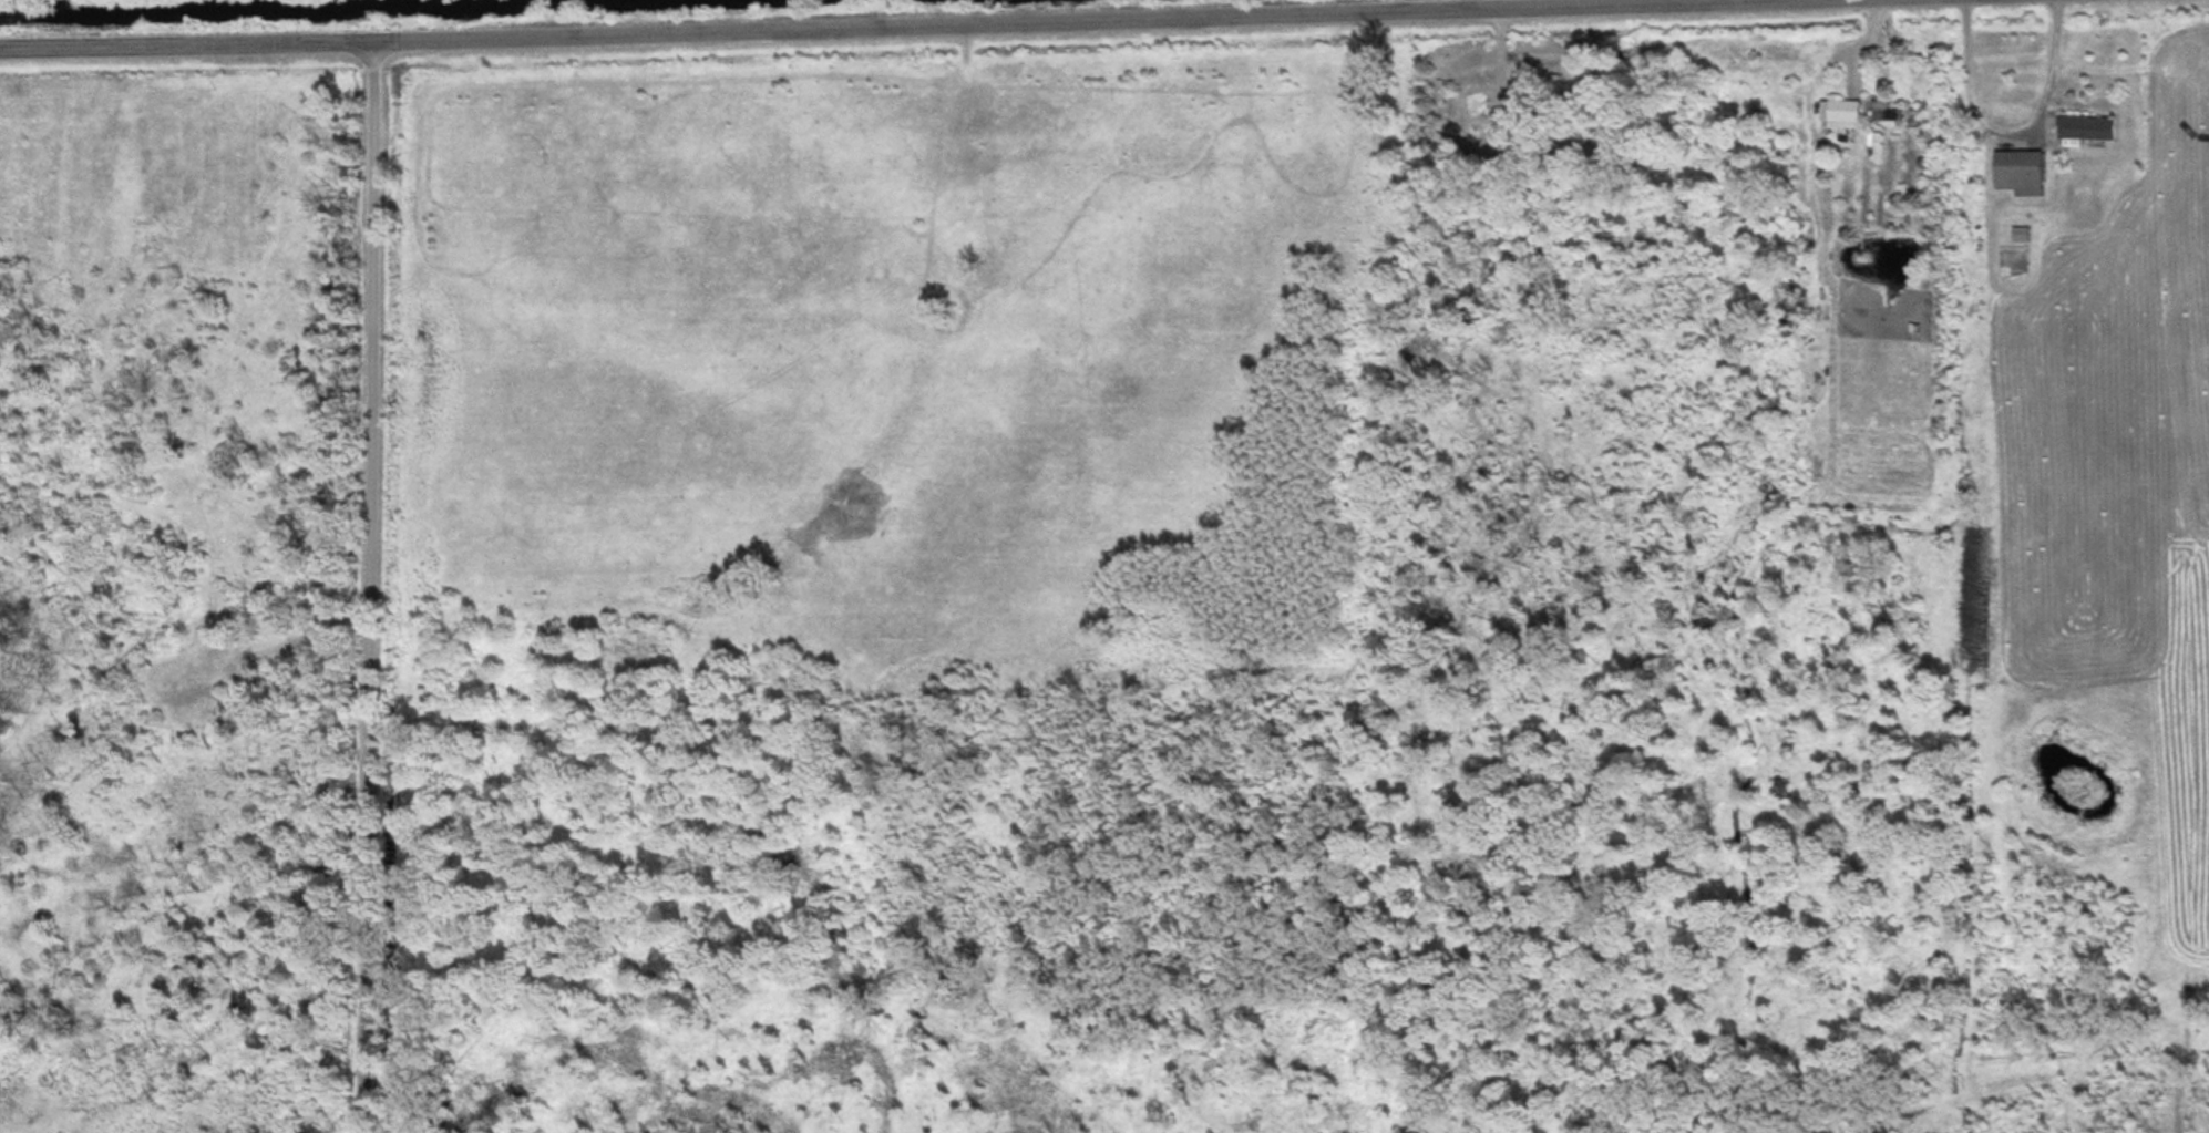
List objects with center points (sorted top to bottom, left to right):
river: (203, 3)
road: (905, 28)
building: (1470, 100)
building: (1893, 110)
building: (1842, 111)
building: (2087, 124)
road: (1997, 128)
building: (2017, 168)
road: (363, 588)

